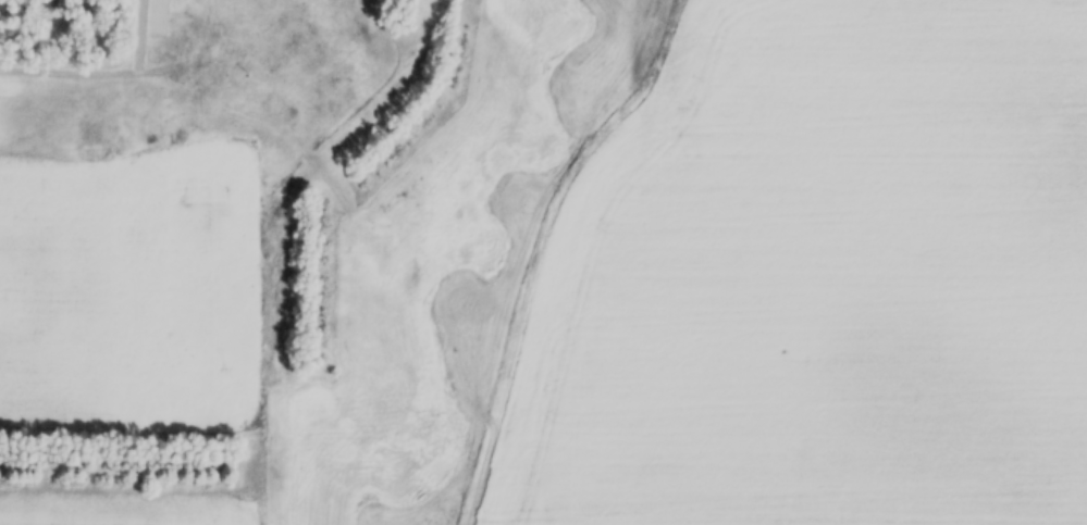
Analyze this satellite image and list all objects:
building: (156, 18)
building: (354, 66)
road: (115, 74)

